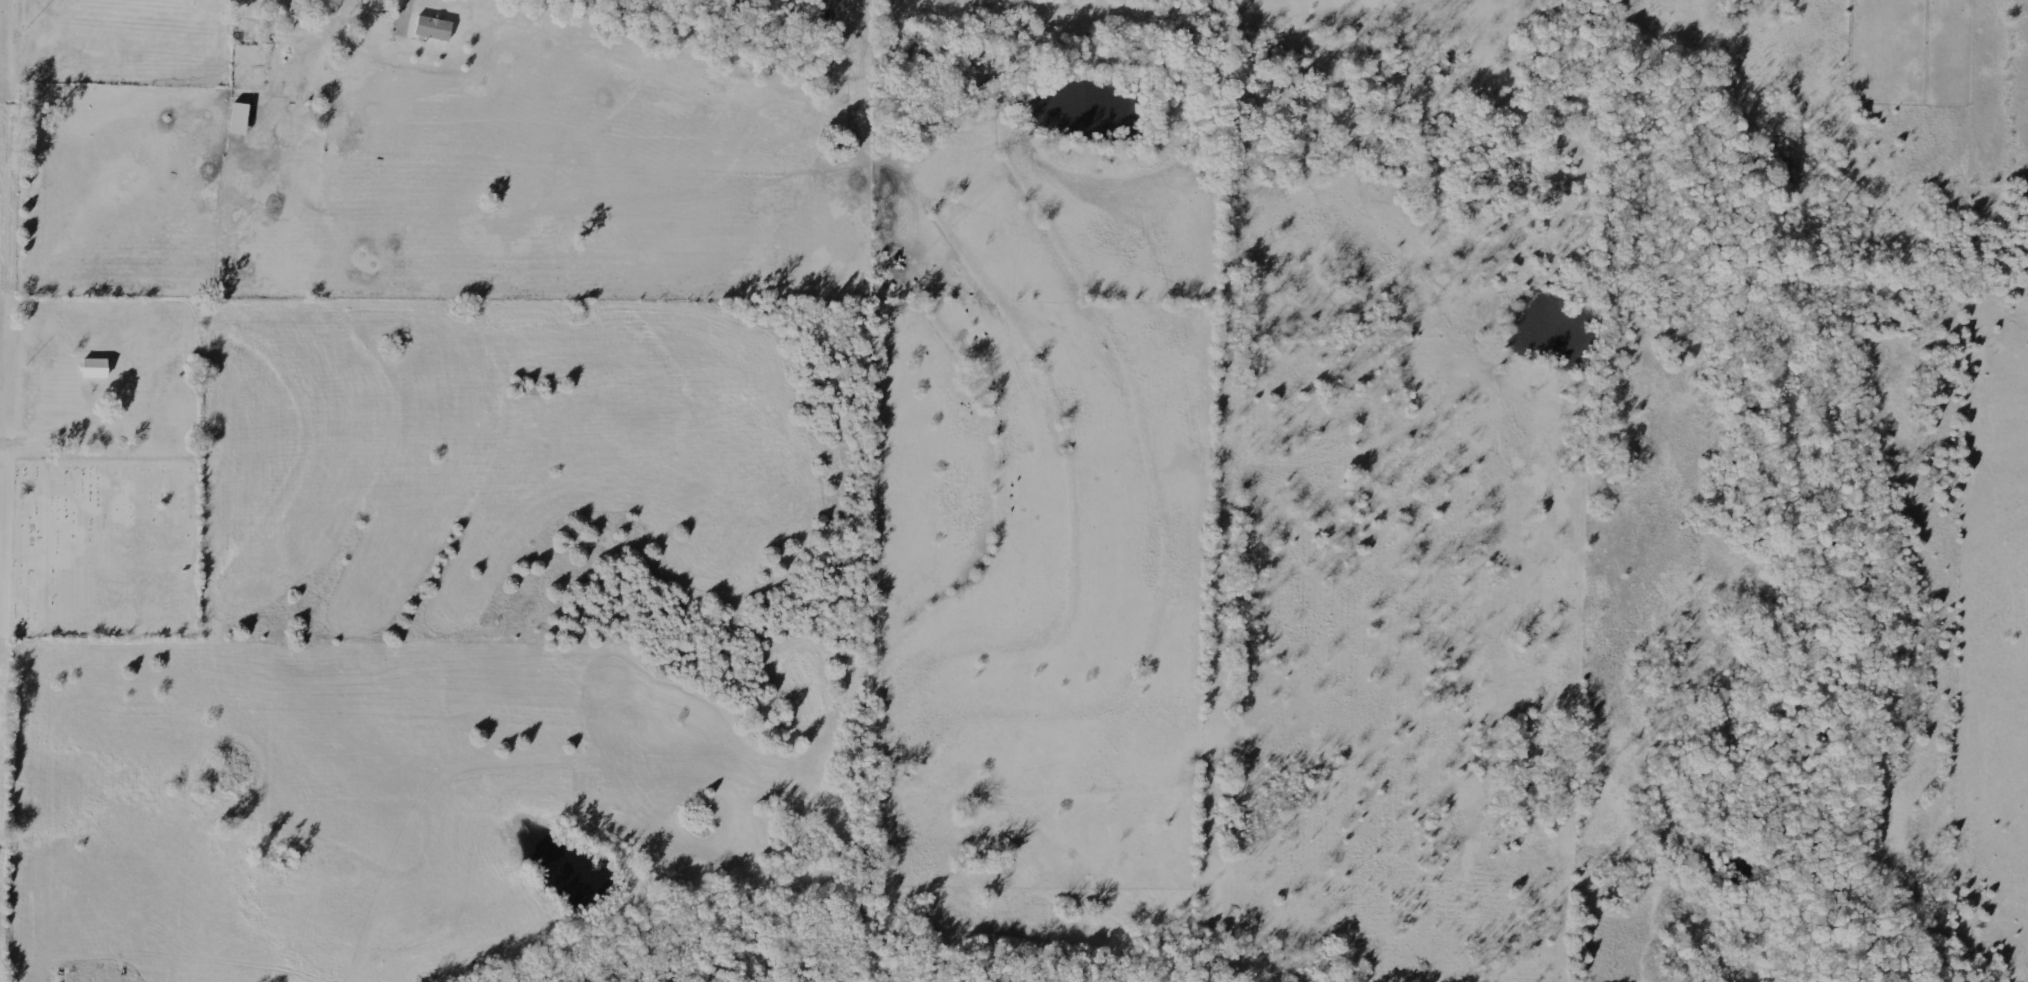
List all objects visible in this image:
road: (407, 12)
building: (62, 20)
building: (429, 32)
building: (96, 369)
road: (45, 418)
park: (100, 551)

